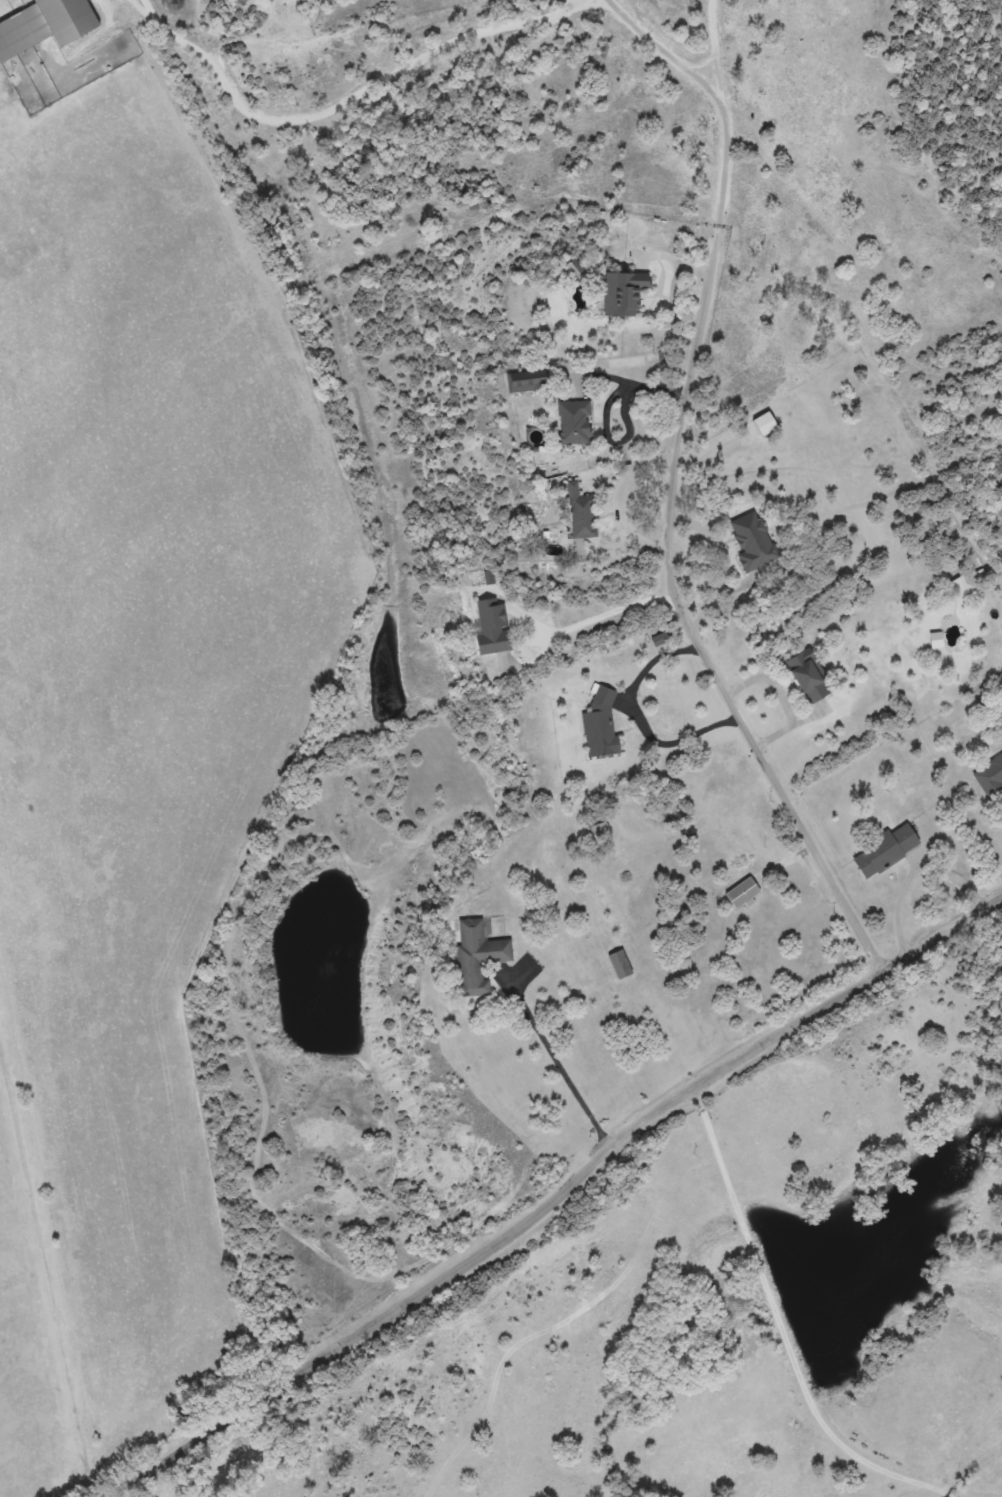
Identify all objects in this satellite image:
building: (48, 26)
road: (470, 257)
building: (619, 292)
building: (517, 385)
building: (568, 422)
building: (761, 424)
building: (544, 463)
building: (577, 514)
building: (750, 541)
building: (959, 586)
building: (485, 628)
building: (804, 676)
building: (596, 725)
road: (746, 725)
building: (988, 776)
building: (596, 831)
building: (881, 850)
building: (740, 893)
road: (944, 937)
building: (471, 957)
building: (618, 964)
road: (793, 1028)
road: (414, 1300)
road: (782, 1322)
road: (987, 1491)

